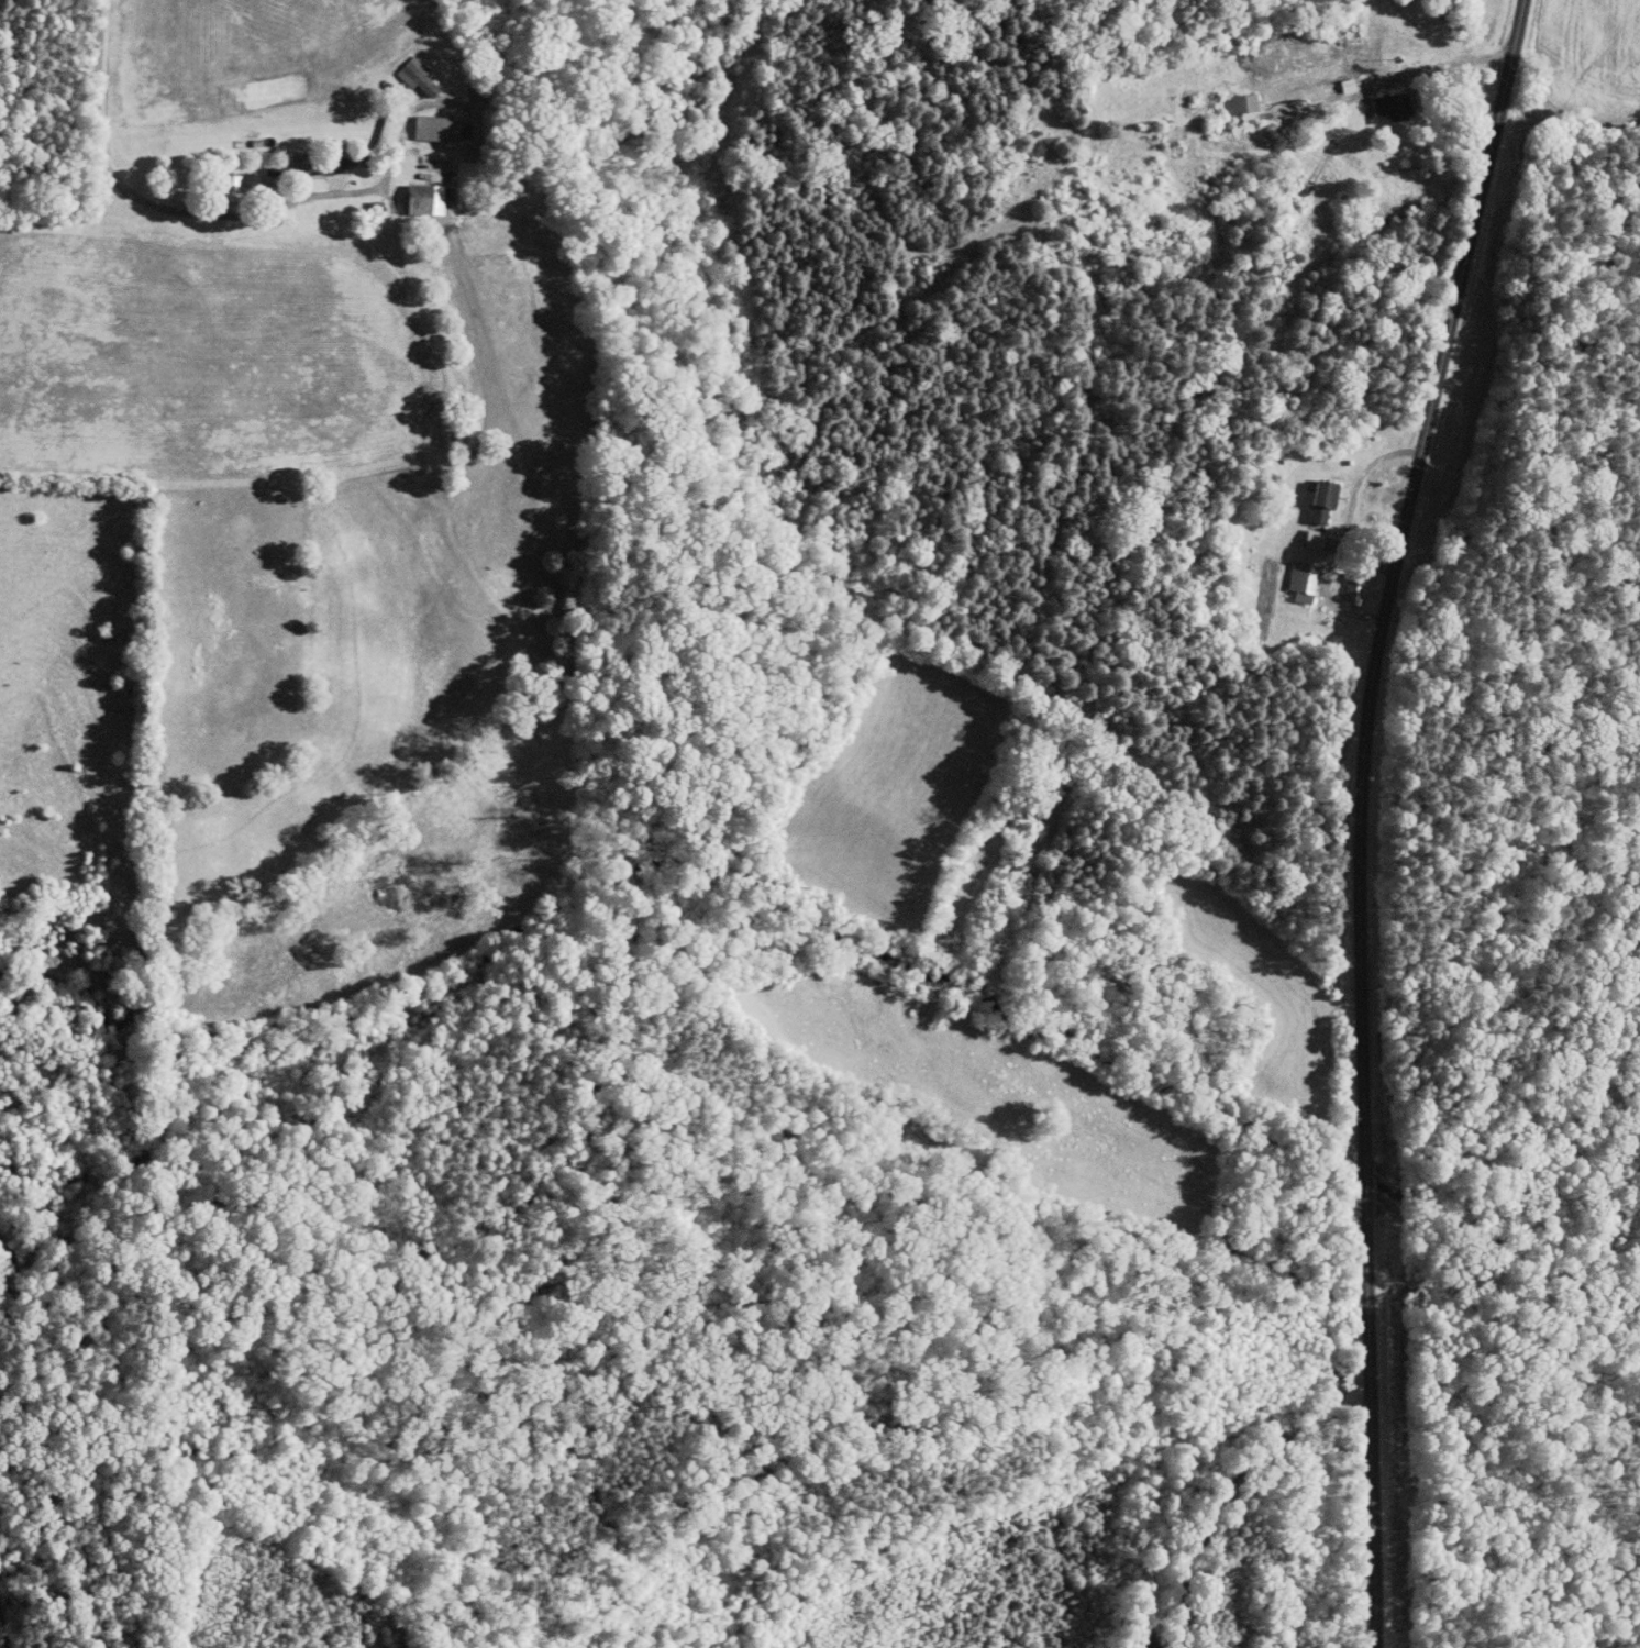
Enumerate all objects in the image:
building: (418, 75)
building: (1246, 101)
building: (1227, 104)
building: (1394, 106)
building: (439, 126)
building: (337, 163)
road: (115, 177)
building: (428, 198)
building: (1326, 500)
building: (1316, 538)
building: (1305, 579)
building: (1355, 590)
road: (1361, 815)

